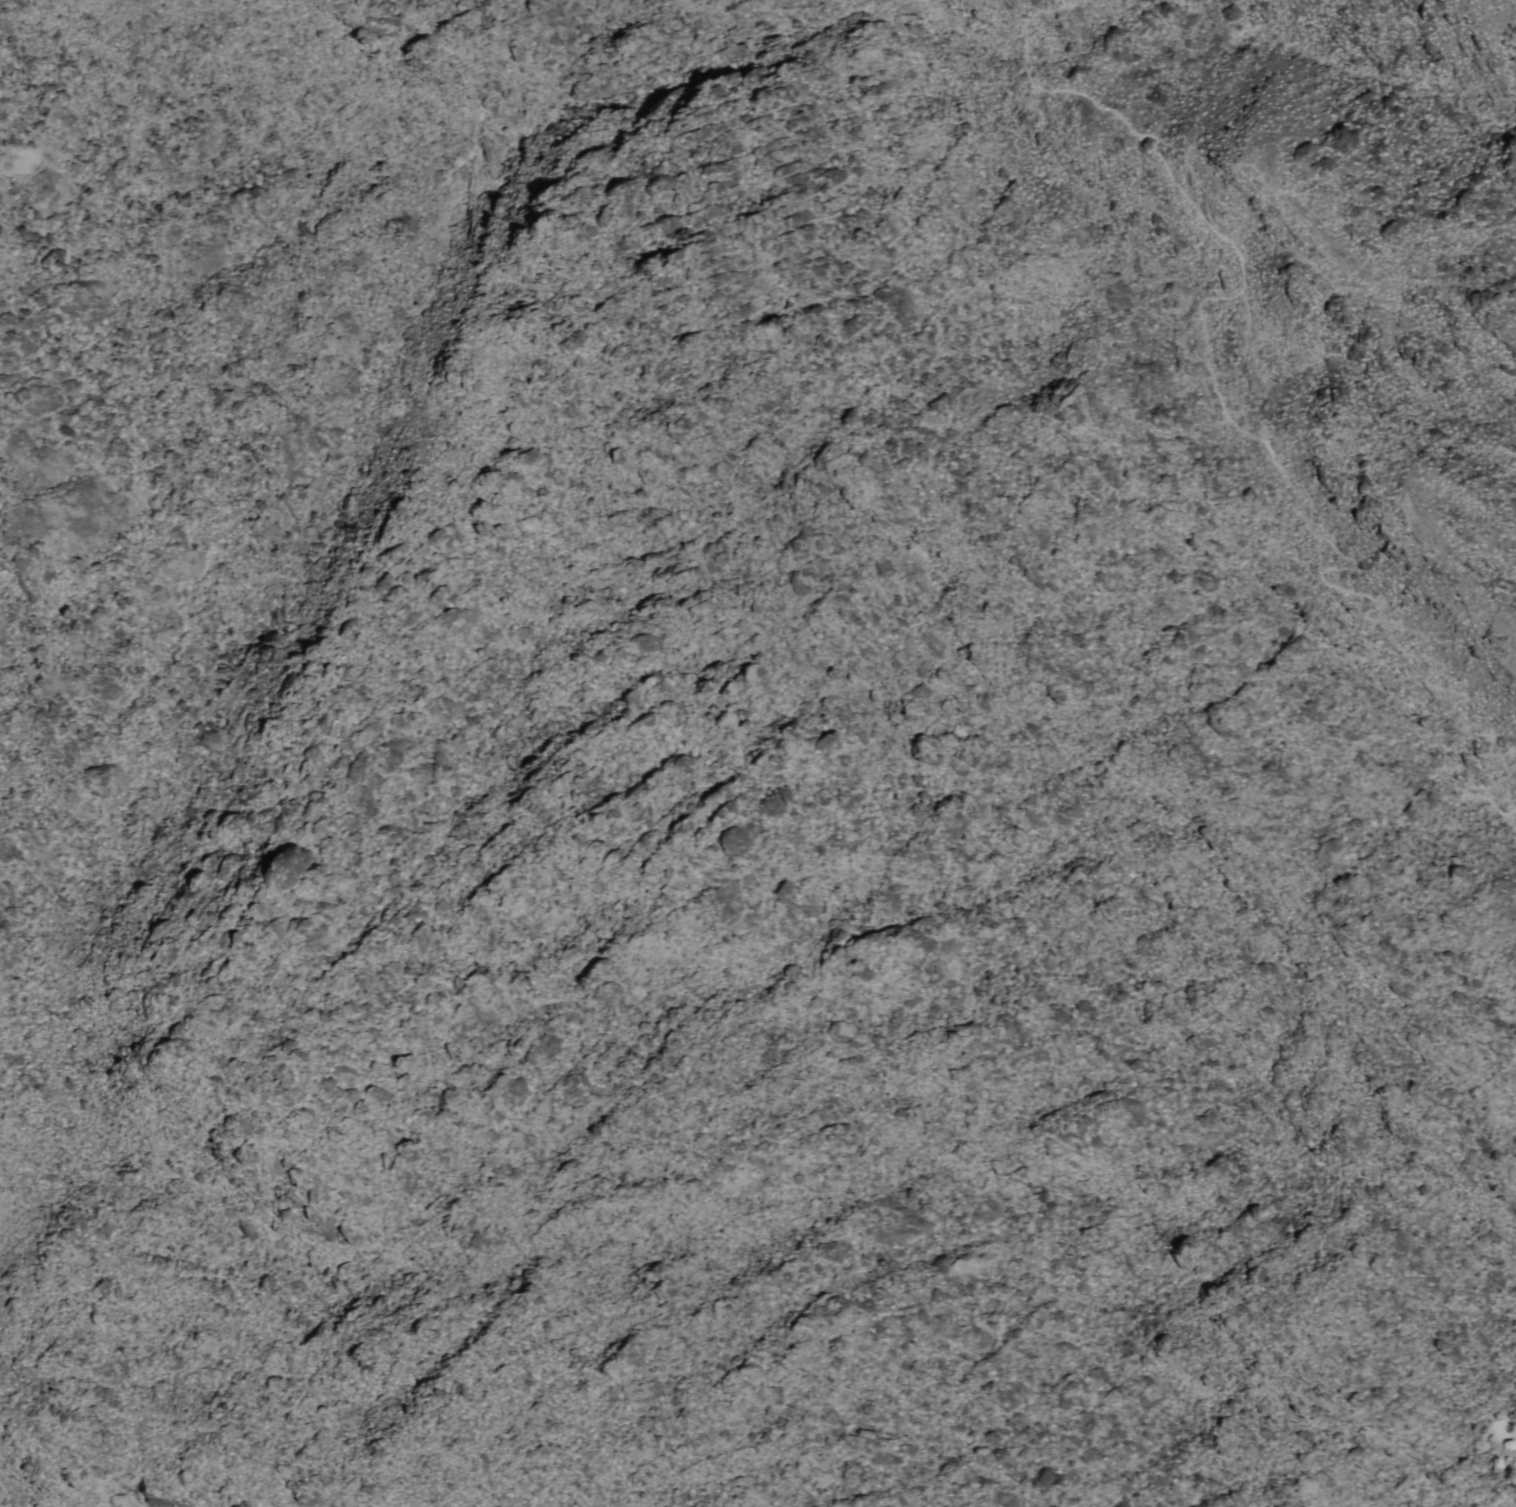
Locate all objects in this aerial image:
road: (1222, 236)
road: (1334, 586)
road: (1493, 795)

